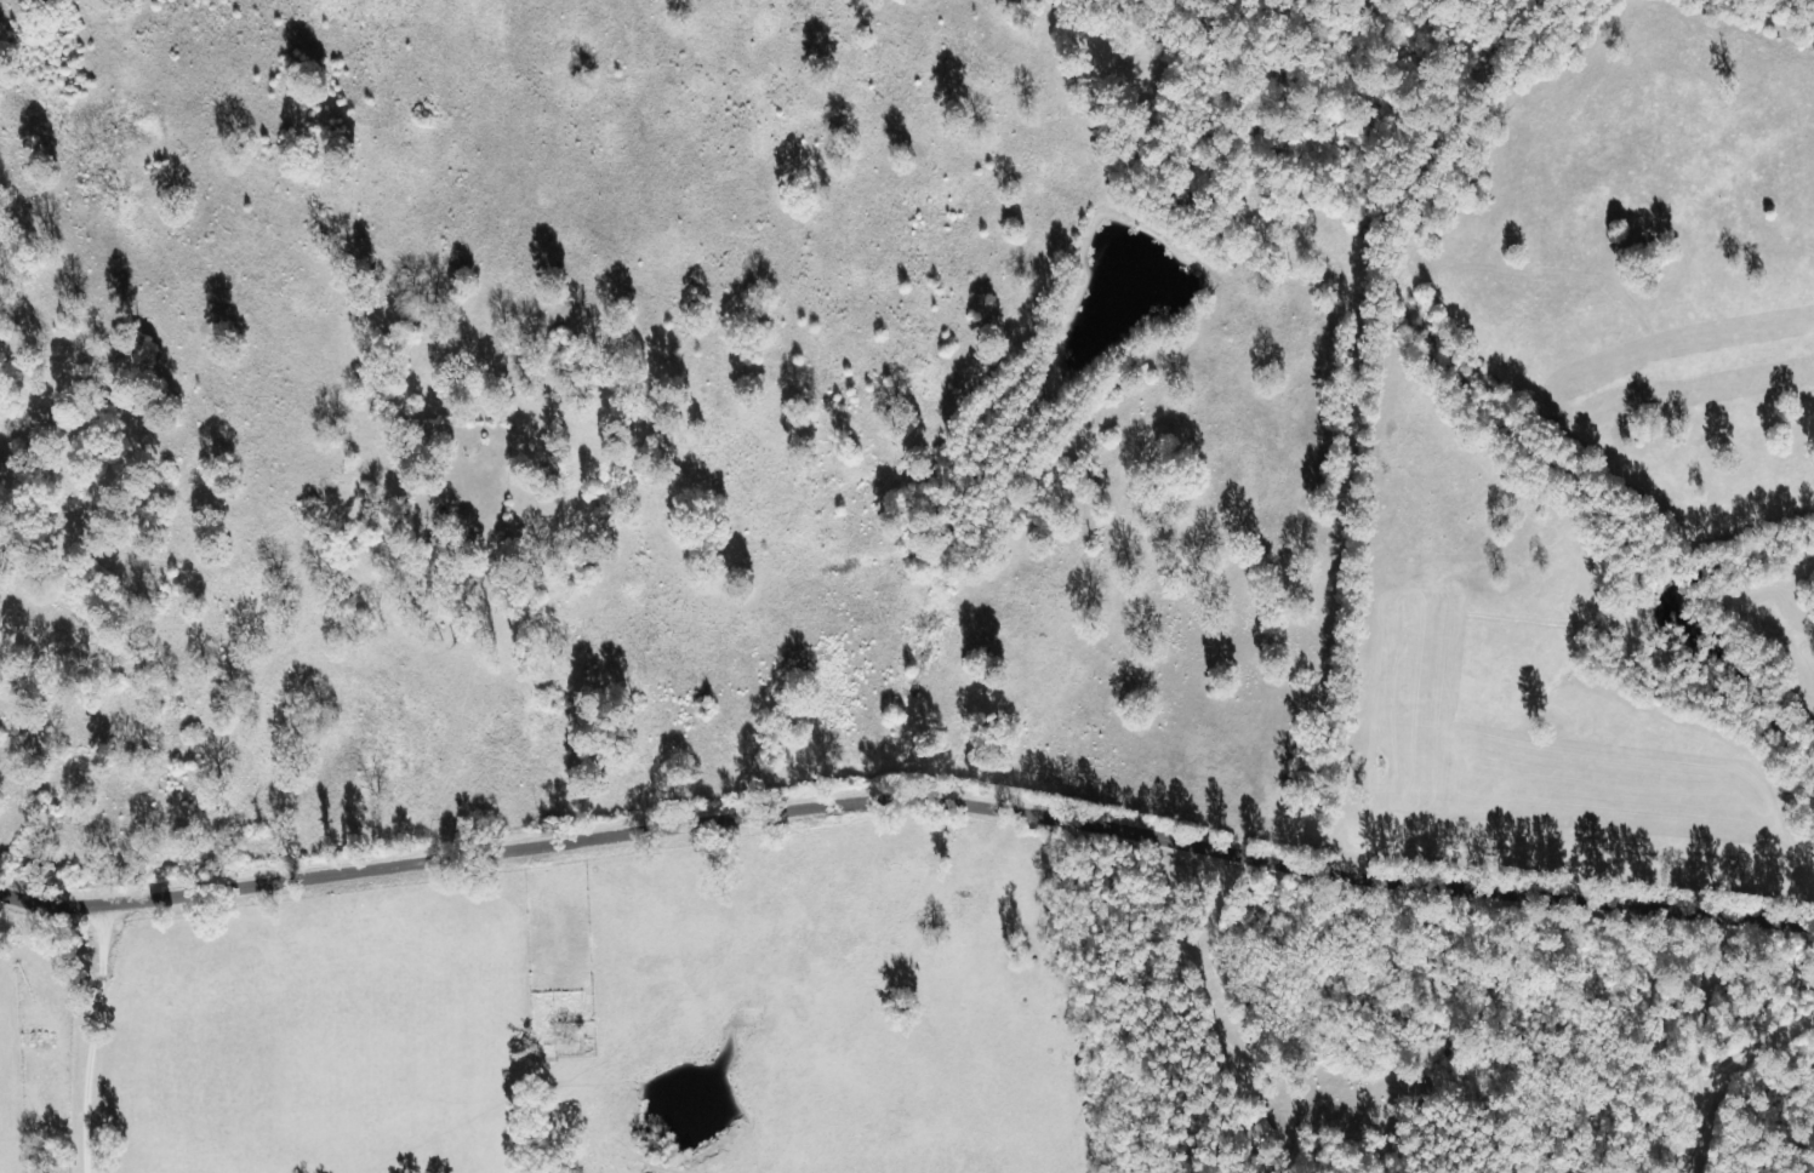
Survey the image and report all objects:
road: (901, 809)
road: (32, 1043)

